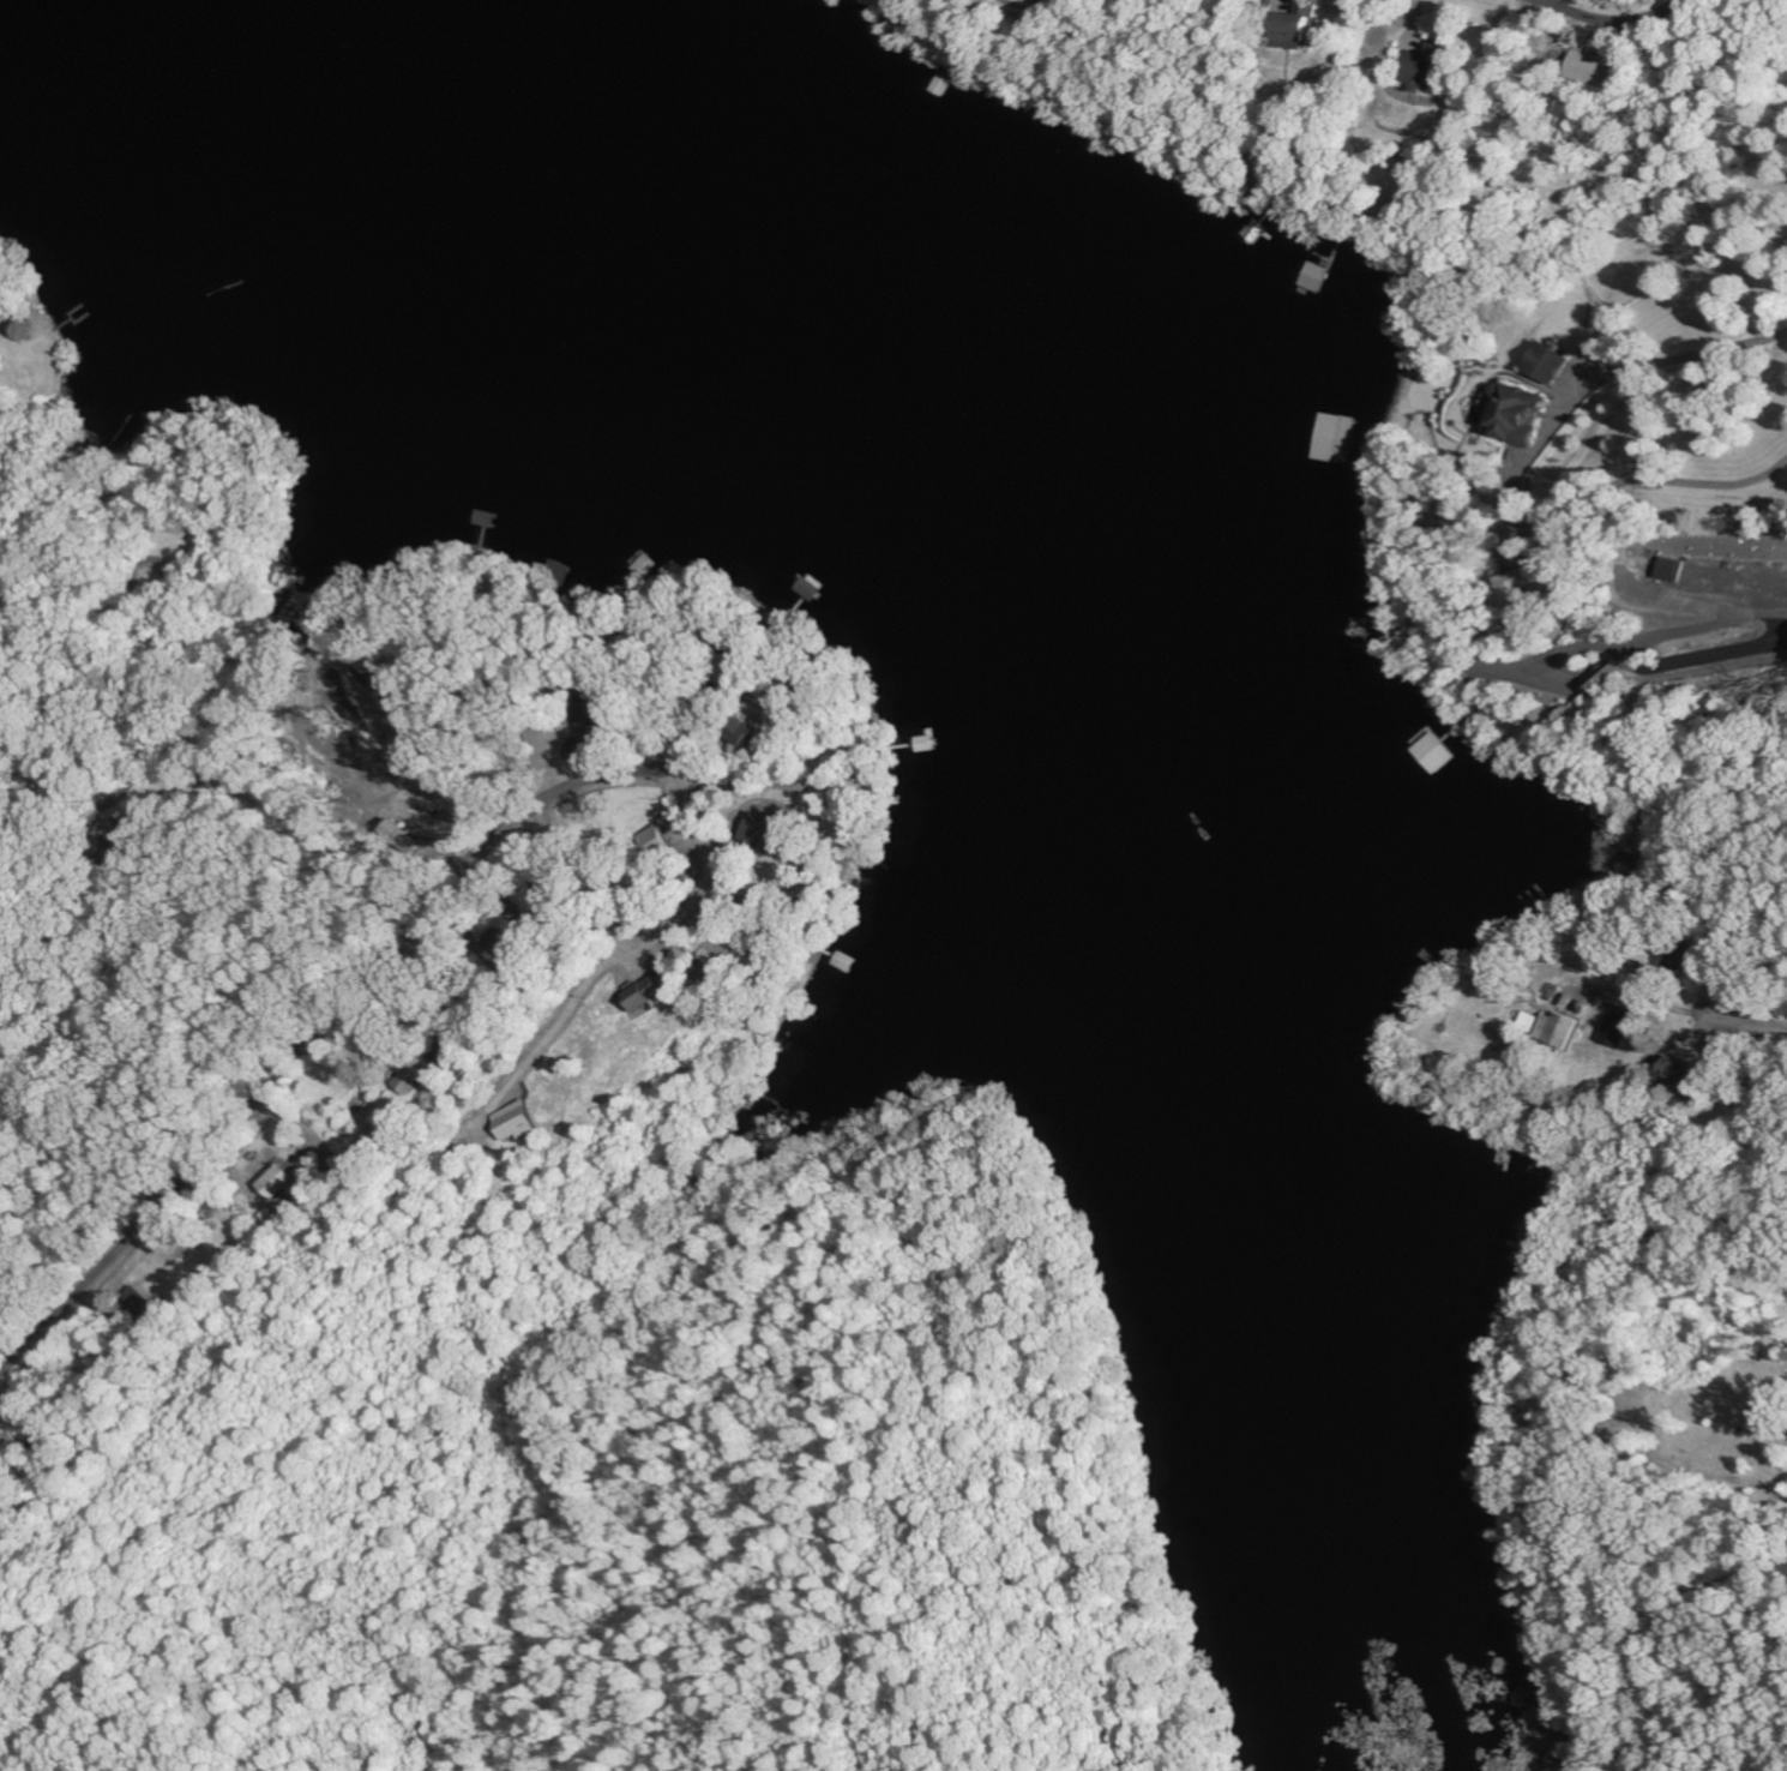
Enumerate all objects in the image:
road: (1615, 22)
building: (1298, 25)
building: (1425, 68)
building: (1594, 68)
building: (1317, 277)
road: (1683, 314)
building: (1545, 364)
building: (1511, 413)
road: (1667, 504)
building: (1669, 570)
road: (1709, 617)
building: (1607, 679)
road: (157, 713)
building: (741, 731)
building: (764, 832)
building: (657, 845)
building: (651, 997)
road: (1745, 1020)
building: (1618, 1028)
building: (1558, 1029)
road: (303, 1041)
building: (419, 1074)

